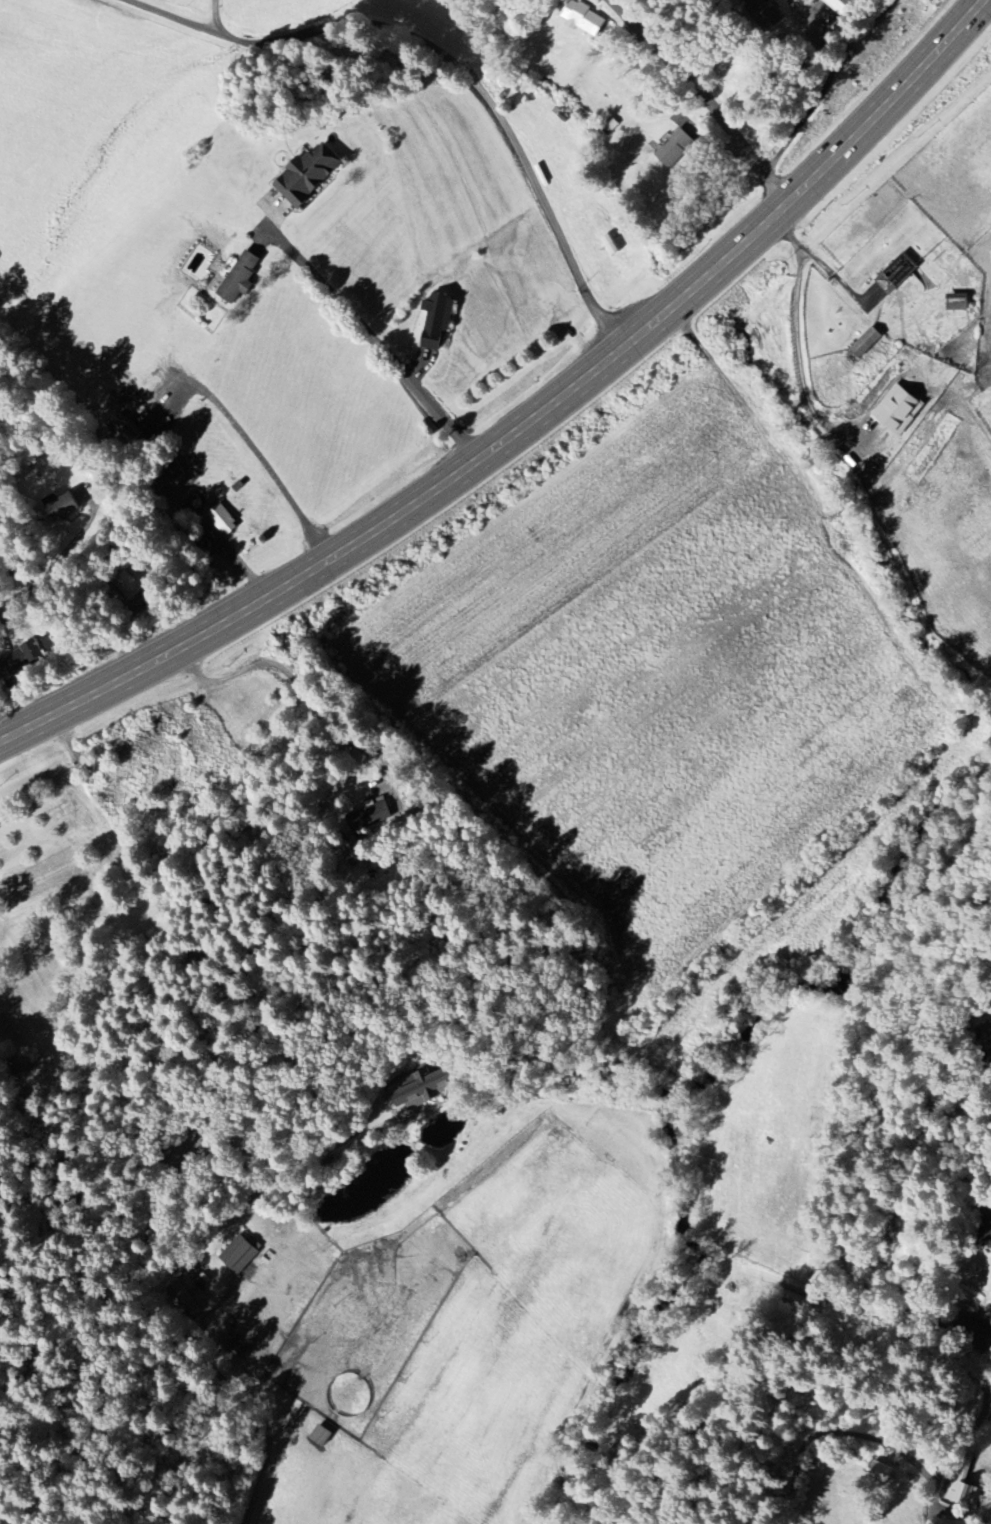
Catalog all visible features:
road: (986, 3)
building: (842, 6)
road: (218, 16)
building: (584, 19)
road: (449, 61)
road: (826, 89)
road: (701, 95)
building: (675, 149)
building: (307, 176)
road: (822, 263)
building: (897, 274)
building: (240, 279)
building: (958, 303)
building: (437, 321)
road: (373, 337)
building: (867, 343)
building: (898, 411)
road: (525, 420)
building: (62, 506)
building: (221, 519)
road: (41, 584)
building: (129, 586)
building: (20, 659)
road: (300, 687)
building: (369, 818)
building: (987, 1035)
building: (422, 1089)
road: (199, 1241)
building: (238, 1256)
building: (184, 1301)
building: (881, 1472)
building: (963, 1493)

